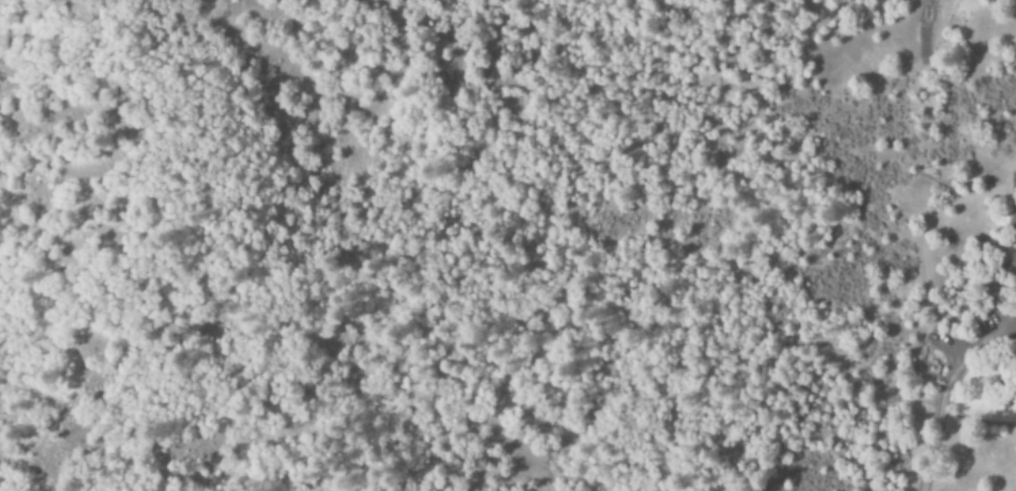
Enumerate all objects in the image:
building: (1014, 255)

